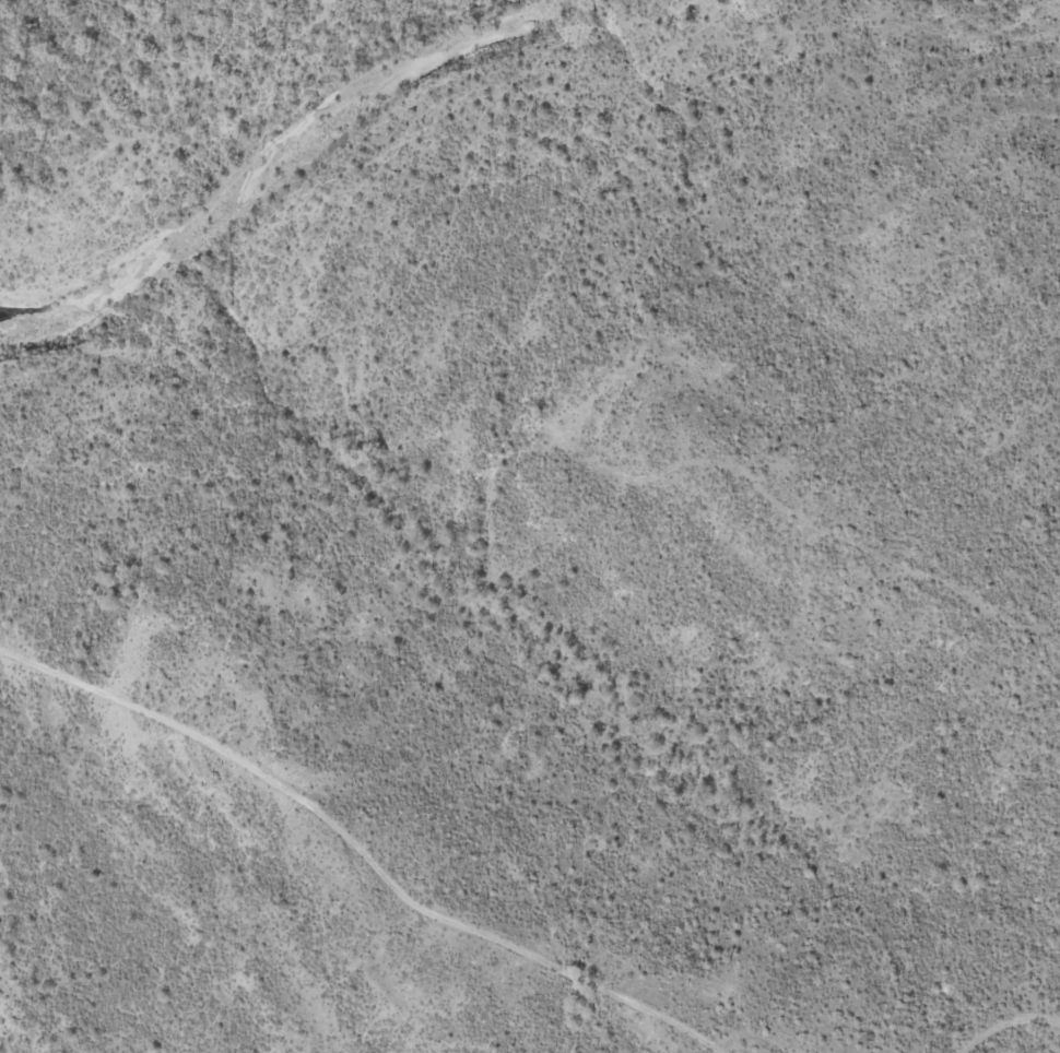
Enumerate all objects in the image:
road: (361, 850)
road: (1011, 1029)

